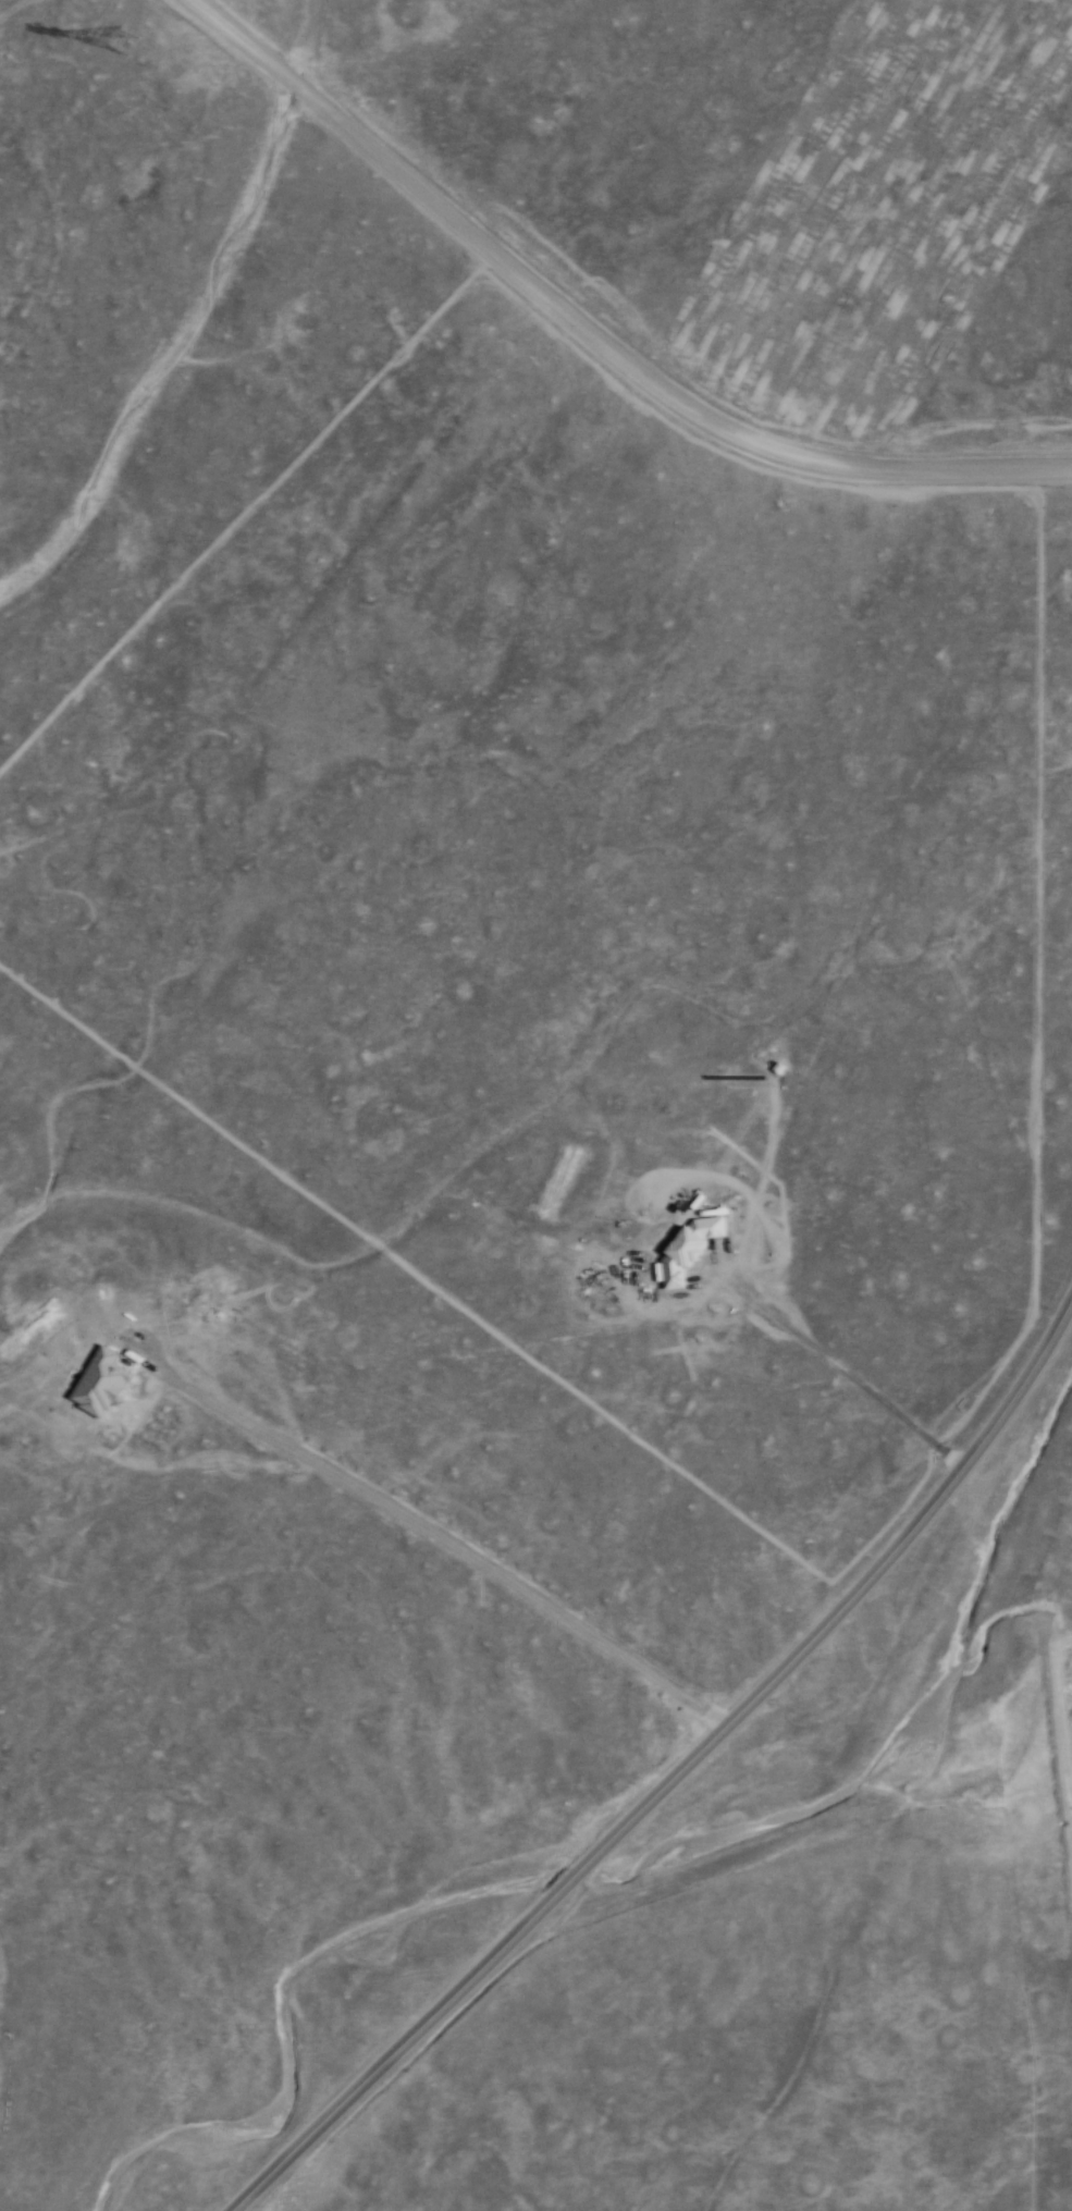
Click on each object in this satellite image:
power tower: (128, 49)
road: (586, 334)
building: (688, 1244)
building: (104, 1383)
road: (675, 1773)

